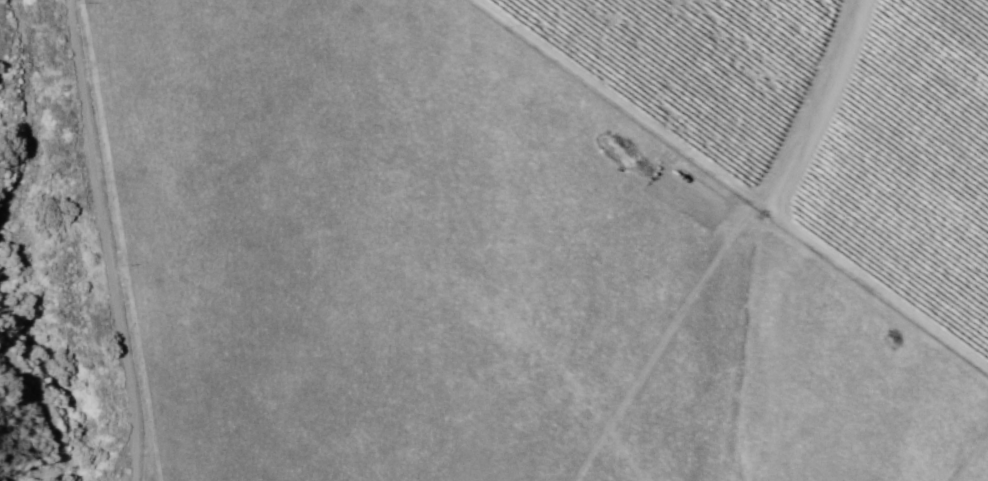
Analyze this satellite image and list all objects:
road: (89, 243)

